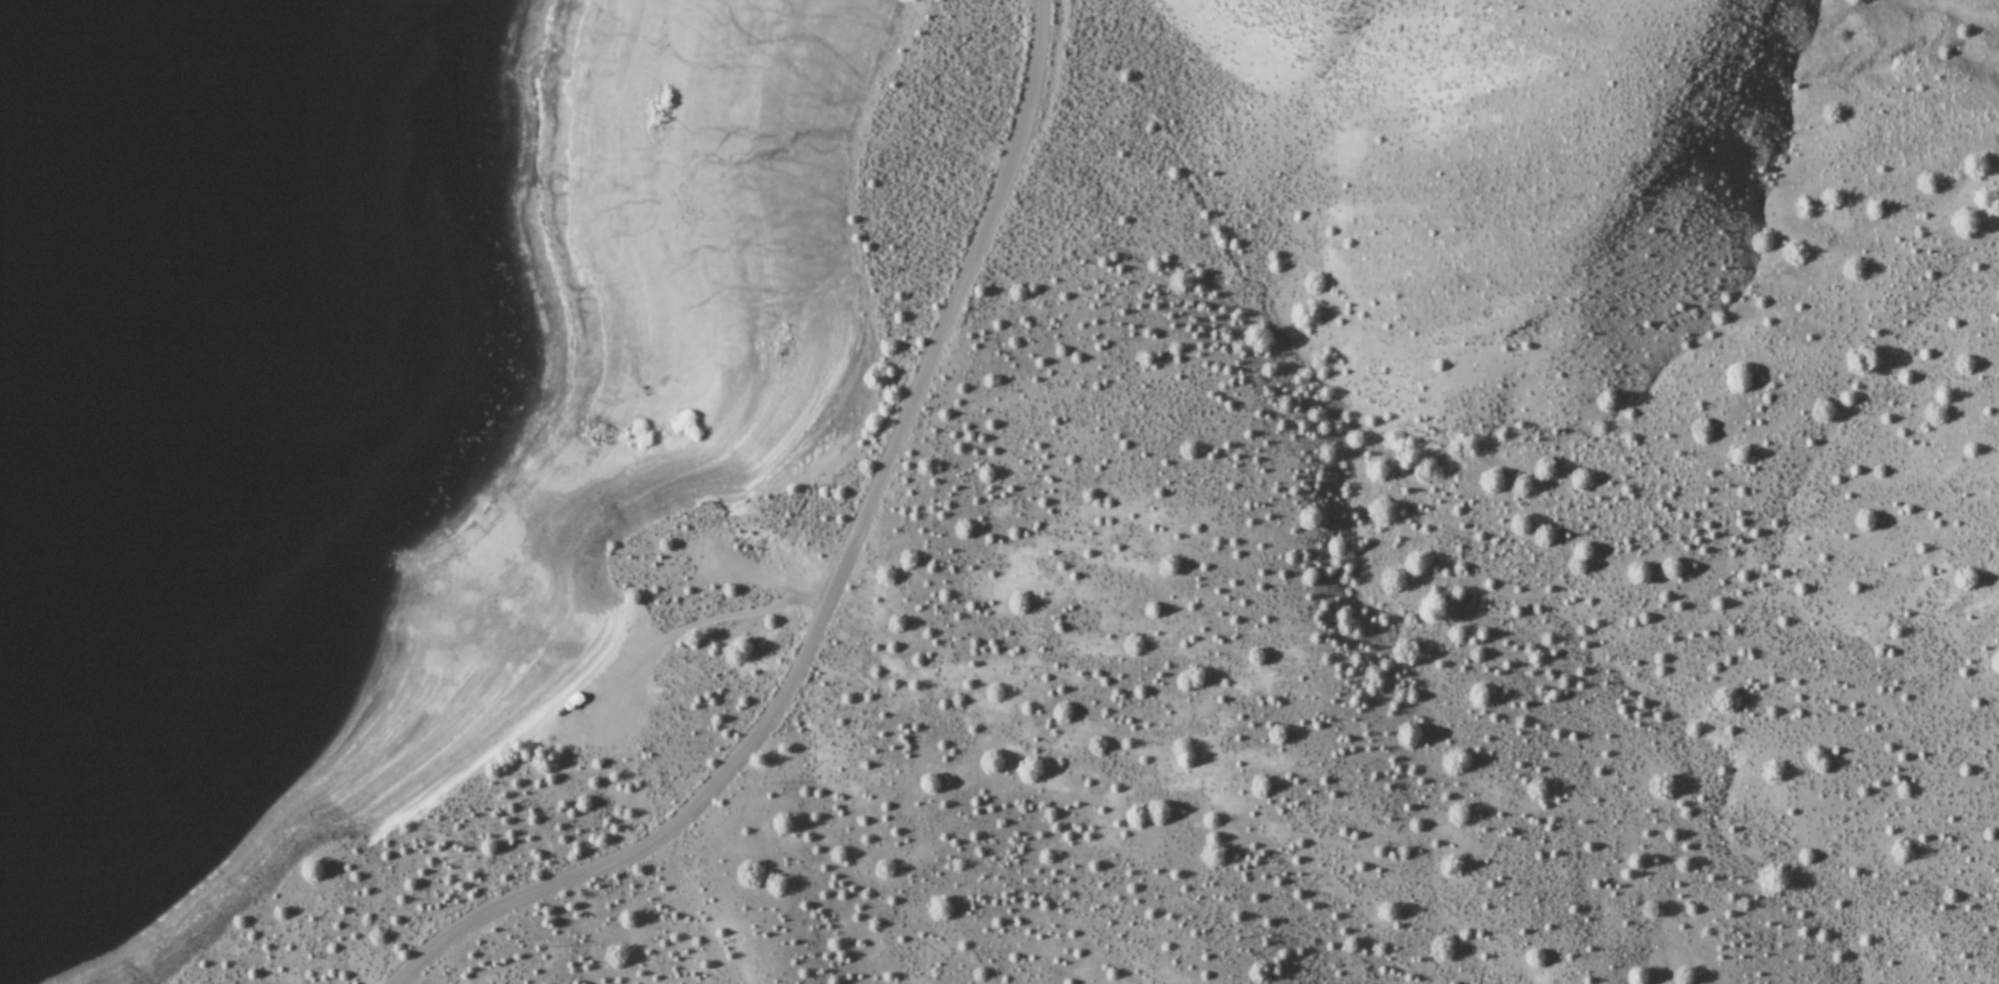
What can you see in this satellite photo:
road: (843, 582)

